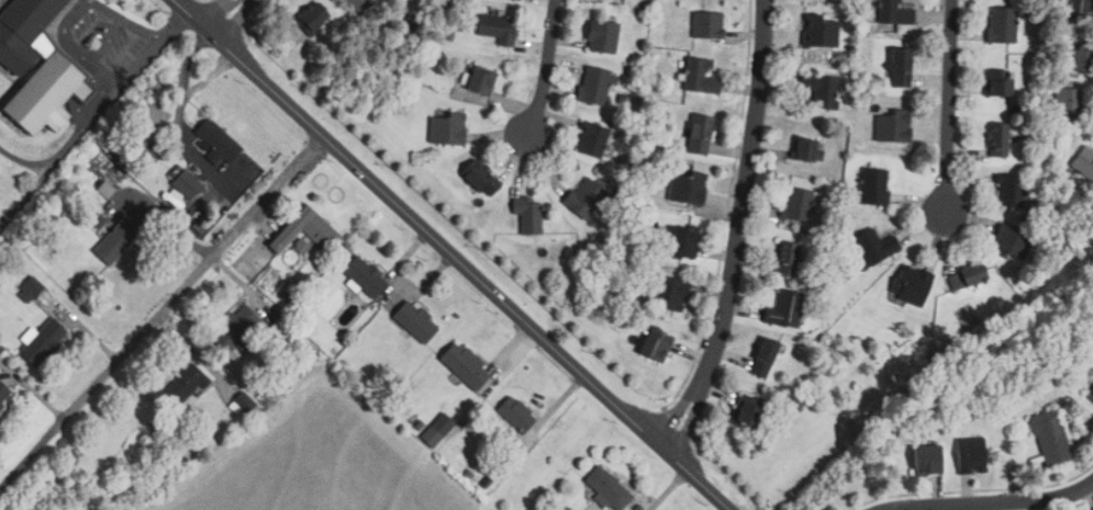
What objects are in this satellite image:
building: (334, 0)
building: (354, 4)
building: (1081, 9)
road: (74, 13)
road: (225, 15)
building: (896, 15)
building: (313, 16)
building: (1003, 25)
building: (707, 26)
building: (497, 27)
building: (821, 32)
building: (602, 37)
road: (107, 42)
building: (1081, 61)
building: (35, 67)
road: (546, 67)
building: (900, 68)
building: (701, 77)
building: (481, 81)
building: (999, 83)
building: (594, 86)
building: (821, 90)
building: (1071, 102)
road: (949, 106)
road: (103, 107)
building: (893, 126)
building: (448, 128)
building: (699, 135)
building: (592, 140)
building: (999, 140)
building: (218, 144)
building: (808, 150)
building: (1084, 161)
building: (480, 179)
building: (187, 184)
building: (874, 186)
building: (688, 188)
building: (1011, 191)
building: (585, 197)
building: (799, 204)
building: (527, 214)
road: (170, 220)
building: (305, 230)
road: (739, 230)
building: (116, 241)
building: (1012, 241)
building: (682, 242)
building: (875, 246)
road: (454, 254)
building: (789, 258)
building: (365, 276)
building: (967, 276)
building: (912, 285)
building: (30, 290)
building: (667, 293)
building: (785, 310)
road: (163, 315)
building: (415, 321)
building: (235, 328)
road: (90, 337)
building: (42, 342)
building: (655, 347)
building: (763, 358)
building: (465, 365)
building: (185, 384)
building: (3, 390)
road: (37, 396)
building: (1091, 396)
building: (241, 403)
building: (748, 412)
building: (516, 413)
building: (432, 437)
building: (1050, 439)
building: (970, 454)
building: (925, 460)
building: (609, 487)
road: (993, 505)

